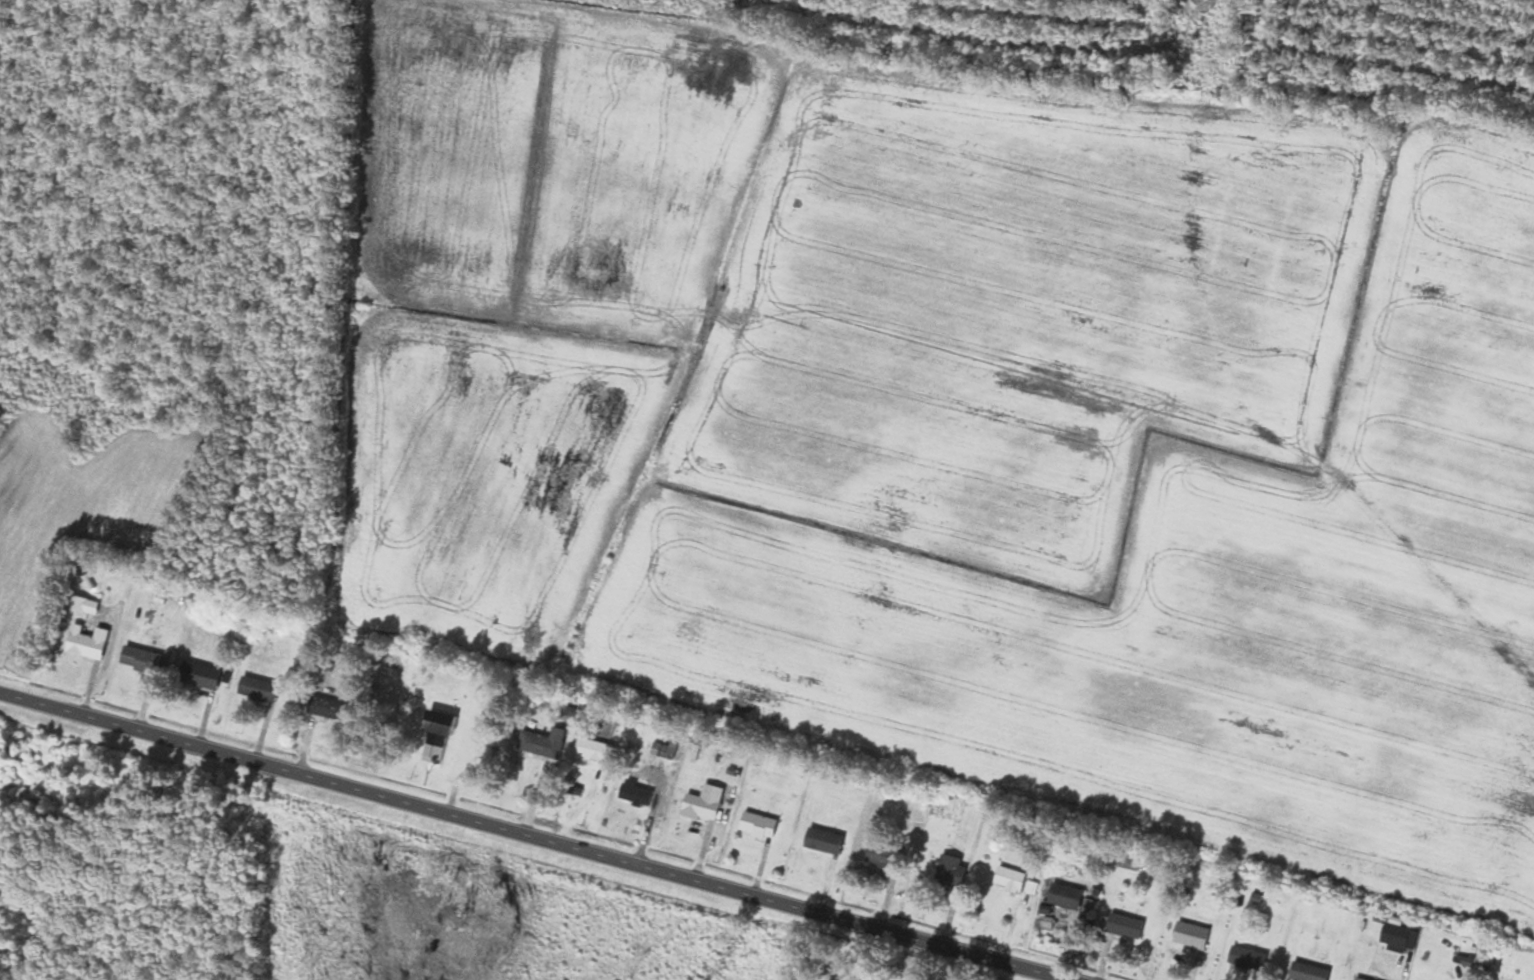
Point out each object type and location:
building: (86, 641)
building: (139, 658)
building: (200, 674)
building: (257, 688)
building: (326, 707)
building: (435, 736)
building: (542, 742)
building: (635, 793)
building: (703, 802)
building: (757, 824)
road: (526, 833)
building: (823, 840)
building: (883, 856)
building: (950, 870)
building: (1010, 878)
building: (1065, 895)
building: (1123, 925)
building: (1191, 934)
building: (1247, 960)
building: (1308, 972)
building: (1359, 978)
building: (843, 979)

